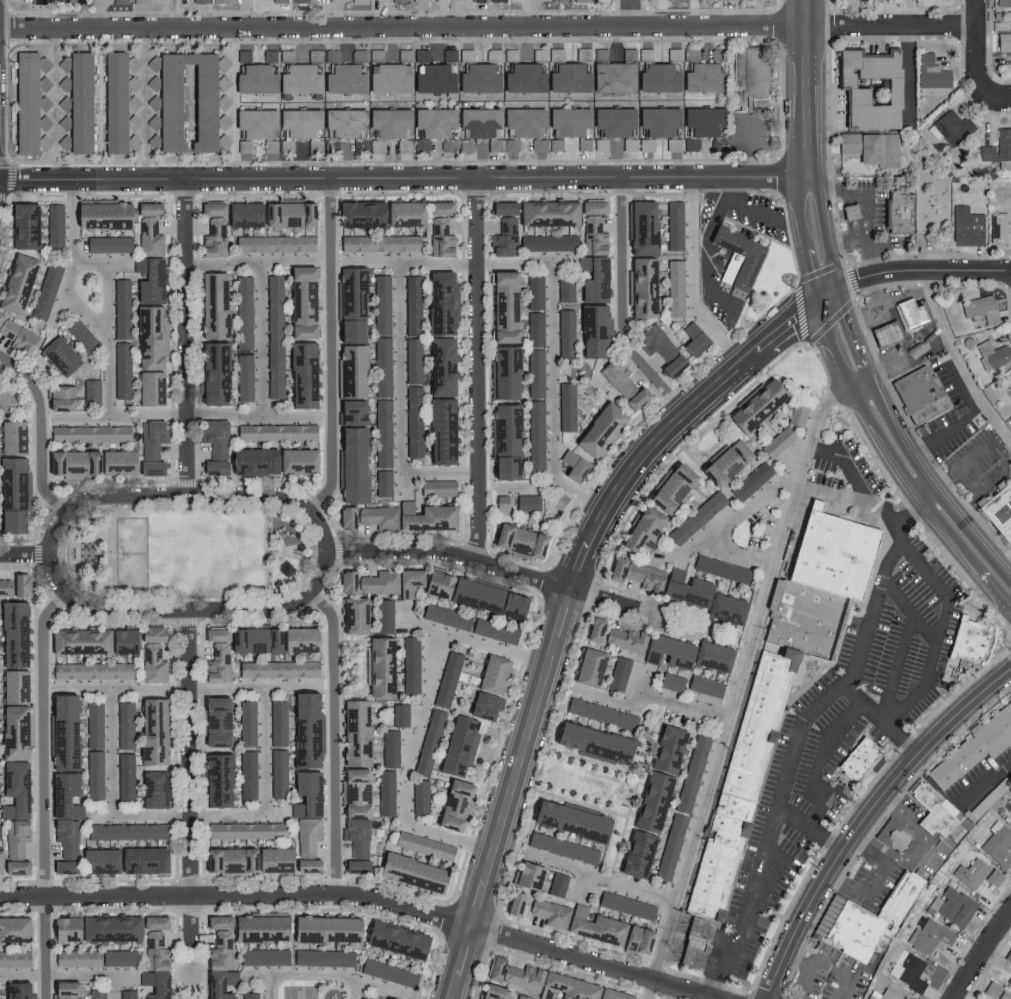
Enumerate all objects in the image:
building: (558, 0)
building: (580, 0)
building: (722, 0)
building: (61, 1)
building: (119, 1)
building: (141, 1)
building: (199, 1)
building: (220, 1)
building: (300, 1)
building: (359, 1)
building: (400, 1)
building: (421, 1)
building: (478, 1)
building: (1003, 3)
road: (633, 12)
road: (488, 25)
building: (1004, 42)
building: (644, 53)
building: (673, 53)
building: (690, 53)
building: (404, 54)
building: (420, 54)
building: (538, 54)
building: (555, 54)
building: (583, 54)
building: (600, 54)
building: (628, 54)
road: (977, 54)
building: (285, 55)
building: (314, 55)
building: (331, 55)
building: (358, 55)
building: (375, 55)
building: (465, 55)
building: (492, 55)
building: (243, 56)
building: (269, 56)
building: (43, 63)
building: (131, 63)
building: (612, 76)
building: (930, 76)
building: (387, 78)
building: (477, 78)
building: (522, 78)
building: (566, 78)
building: (656, 78)
building: (702, 78)
building: (254, 79)
building: (297, 79)
building: (342, 79)
building: (432, 79)
building: (43, 83)
building: (753, 83)
road: (807, 87)
building: (869, 88)
road: (1003, 98)
building: (179, 99)
building: (77, 100)
building: (23, 102)
road: (55, 102)
building: (113, 102)
road: (145, 102)
building: (162, 102)
building: (133, 121)
building: (342, 121)
building: (523, 121)
building: (567, 121)
building: (612, 121)
building: (657, 121)
building: (702, 121)
building: (41, 122)
building: (297, 122)
building: (432, 122)
building: (478, 122)
building: (253, 123)
building: (387, 123)
building: (952, 127)
parking lot: (753, 135)
building: (223, 142)
building: (628, 144)
building: (673, 144)
building: (691, 144)
building: (375, 145)
building: (421, 145)
building: (448, 145)
building: (465, 145)
building: (494, 145)
building: (511, 145)
building: (645, 145)
building: (244, 146)
building: (998, 149)
road: (752, 150)
building: (872, 157)
road: (403, 177)
road: (720, 186)
road: (861, 195)
road: (800, 198)
building: (590, 207)
road: (819, 207)
building: (438, 208)
building: (501, 208)
building: (145, 209)
building: (210, 209)
building: (849, 212)
building: (358, 214)
building: (403, 214)
building: (547, 214)
building: (101, 215)
building: (269, 215)
road: (713, 216)
building: (905, 220)
building: (22, 225)
building: (54, 225)
building: (674, 225)
building: (966, 227)
building: (640, 228)
building: (999, 229)
road: (805, 234)
building: (592, 236)
building: (147, 237)
building: (439, 238)
building: (504, 238)
road: (847, 238)
building: (213, 239)
building: (378, 243)
building: (548, 243)
building: (106, 244)
building: (274, 244)
road: (871, 254)
building: (747, 261)
road: (103, 262)
road: (292, 263)
road: (403, 263)
road: (72, 266)
road: (831, 268)
road: (942, 270)
road: (873, 273)
road: (812, 274)
building: (592, 279)
building: (146, 280)
road: (852, 280)
road: (692, 281)
building: (15, 283)
building: (641, 287)
building: (674, 288)
road: (876, 288)
building: (565, 290)
building: (45, 291)
building: (350, 293)
building: (534, 293)
road: (907, 293)
road: (829, 299)
building: (300, 303)
building: (439, 303)
building: (381, 304)
building: (412, 305)
road: (842, 305)
building: (211, 306)
building: (502, 307)
building: (121, 308)
road: (624, 308)
building: (980, 308)
road: (864, 309)
building: (243, 313)
building: (909, 316)
road: (897, 327)
building: (535, 329)
road: (827, 330)
building: (347, 331)
building: (565, 333)
building: (592, 333)
building: (81, 335)
building: (884, 335)
building: (16, 336)
road: (187, 336)
building: (274, 337)
building: (148, 339)
building: (693, 339)
road: (331, 347)
road: (855, 347)
building: (660, 349)
building: (992, 354)
building: (58, 356)
road: (906, 357)
building: (412, 361)
road: (957, 361)
road: (553, 364)
building: (382, 367)
building: (440, 367)
road: (476, 368)
building: (121, 370)
building: (350, 372)
road: (842, 372)
building: (211, 373)
building: (503, 373)
building: (535, 373)
building: (300, 375)
building: (243, 377)
building: (1009, 378)
road: (858, 383)
building: (622, 384)
building: (147, 389)
building: (91, 390)
building: (1009, 390)
building: (57, 399)
building: (922, 400)
building: (4, 401)
road: (401, 405)
building: (566, 407)
building: (753, 407)
building: (349, 413)
building: (797, 414)
road: (221, 415)
road: (967, 417)
road: (80, 418)
road: (294, 418)
building: (413, 421)
road: (41, 429)
building: (504, 429)
building: (439, 430)
building: (597, 430)
building: (275, 432)
building: (90, 433)
building: (382, 433)
building: (536, 436)
building: (11, 438)
building: (215, 438)
building: (151, 439)
building: (777, 443)
road: (981, 453)
building: (295, 461)
building: (252, 462)
building: (724, 462)
building: (100, 464)
building: (350, 466)
building: (572, 466)
building: (211, 468)
building: (502, 468)
road: (992, 474)
road: (855, 479)
building: (751, 481)
building: (383, 483)
road: (907, 484)
road: (518, 485)
road: (928, 486)
road: (940, 486)
building: (434, 488)
building: (668, 488)
building: (11, 496)
road: (834, 497)
building: (557, 500)
building: (502, 503)
building: (527, 503)
building: (999, 511)
building: (406, 517)
building: (697, 517)
road: (734, 518)
building: (345, 519)
building: (640, 531)
building: (515, 541)
road: (326, 551)
park: (188, 552)
road: (451, 554)
road: (25, 558)
road: (1004, 560)
building: (720, 569)
building: (634, 575)
building: (819, 581)
building: (380, 583)
building: (13, 586)
building: (683, 589)
road: (995, 589)
building: (474, 595)
road: (624, 606)
building: (725, 608)
road: (565, 610)
building: (352, 615)
road: (907, 615)
building: (384, 616)
building: (446, 616)
building: (593, 628)
building: (494, 630)
road: (864, 631)
building: (12, 634)
building: (976, 637)
building: (297, 638)
building: (625, 638)
building: (100, 639)
road: (939, 640)
road: (472, 643)
building: (234, 646)
building: (665, 650)
building: (712, 655)
building: (152, 662)
building: (410, 664)
building: (379, 665)
building: (587, 666)
road: (897, 666)
building: (277, 668)
building: (90, 670)
building: (491, 672)
building: (618, 673)
building: (447, 678)
building: (670, 681)
building: (12, 685)
building: (705, 685)
road: (738, 687)
road: (124, 688)
road: (295, 688)
road: (655, 696)
building: (484, 704)
building: (600, 712)
building: (400, 714)
building: (213, 720)
building: (247, 722)
building: (277, 722)
building: (94, 724)
building: (125, 724)
building: (305, 727)
building: (150, 729)
building: (767, 730)
building: (12, 731)
building: (353, 731)
road: (335, 738)
building: (592, 741)
building: (428, 742)
building: (458, 743)
building: (390, 748)
building: (666, 748)
building: (978, 750)
road: (113, 752)
road: (265, 753)
road: (192, 754)
building: (864, 765)
road: (817, 768)
building: (277, 772)
road: (405, 773)
building: (692, 773)
building: (95, 774)
building: (247, 774)
building: (125, 775)
building: (216, 778)
road: (785, 779)
road: (988, 785)
building: (14, 788)
building: (152, 788)
road: (45, 791)
building: (353, 791)
building: (386, 792)
building: (305, 793)
building: (64, 796)
building: (419, 796)
building: (456, 798)
building: (651, 800)
building: (940, 811)
building: (1009, 813)
road: (269, 815)
road: (144, 816)
road: (864, 816)
building: (568, 819)
building: (445, 821)
building: (246, 829)
building: (125, 831)
road: (926, 832)
building: (356, 835)
building: (306, 836)
building: (897, 836)
building: (15, 837)
building: (65, 837)
building: (998, 844)
building: (423, 845)
building: (671, 846)
building: (561, 847)
building: (635, 853)
building: (124, 859)
building: (255, 859)
road: (781, 859)
building: (354, 865)
building: (13, 866)
building: (62, 866)
building: (411, 872)
building: (526, 874)
building: (973, 874)
building: (994, 877)
parking lot: (872, 878)
road: (878, 878)
road: (605, 883)
building: (557, 884)
building: (907, 894)
road: (366, 897)
building: (514, 902)
building: (953, 906)
road: (748, 908)
building: (830, 914)
building: (885, 918)
building: (577, 920)
building: (152, 921)
building: (13, 927)
building: (62, 927)
building: (109, 927)
building: (323, 928)
building: (857, 930)
building: (240, 934)
building: (932, 936)
road: (191, 939)
building: (395, 939)
building: (636, 939)
building: (699, 941)
building: (688, 949)
building: (155, 950)
road: (979, 953)
building: (1008, 955)
building: (262, 956)
building: (93, 957)
building: (322, 957)
building: (13, 958)
road: (828, 965)
building: (493, 967)
building: (909, 971)
building: (387, 972)
road: (331, 974)
road: (68, 975)
parking lot: (831, 975)
building: (229, 976)
building: (1009, 980)
road: (800, 981)
building: (153, 984)
building: (214, 985)
building: (557, 985)
road: (271, 986)
road: (117, 987)
building: (63, 989)
road: (360, 989)
building: (992, 989)
building: (15, 990)
building: (489, 991)
building: (96, 993)
building: (127, 994)
park: (303, 994)
building: (882, 994)
building: (250, 995)
building: (1003, 995)
building: (521, 996)
building: (363, 998)
building: (385, 998)
building: (904, 998)

